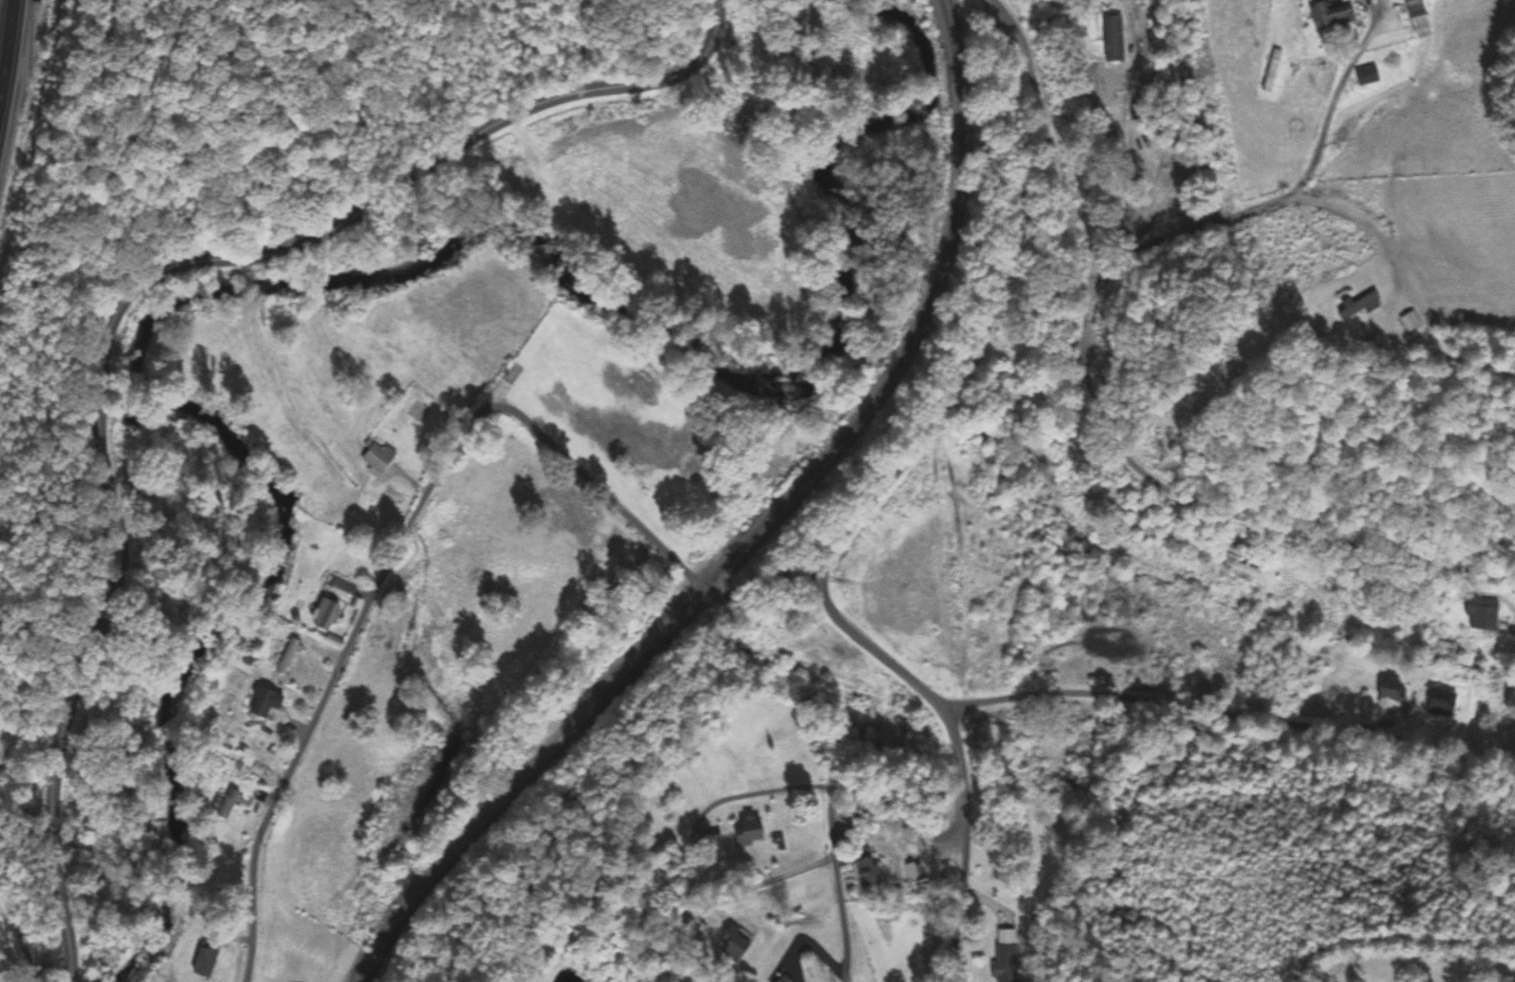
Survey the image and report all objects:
building: (1329, 14)
building: (1417, 18)
road: (7, 52)
building: (1271, 70)
building: (1366, 75)
road: (447, 150)
road: (1052, 164)
road: (1240, 212)
river: (327, 274)
building: (1358, 306)
road: (993, 318)
building: (1410, 322)
building: (377, 457)
road: (589, 481)
road: (1249, 521)
railway: (756, 532)
building: (1097, 539)
building: (1240, 567)
road: (761, 590)
road: (1510, 608)
building: (1482, 614)
building: (325, 615)
road: (93, 624)
building: (286, 657)
building: (1390, 691)
road: (328, 693)
building: (261, 703)
building: (1441, 704)
road: (1229, 720)
road: (957, 757)
road: (1514, 761)
road: (754, 793)
building: (228, 804)
road: (827, 810)
building: (748, 830)
building: (913, 870)
road: (724, 894)
building: (732, 943)
road: (807, 944)
road: (1396, 945)
road: (13, 952)
building: (204, 963)
building: (1006, 963)
building: (782, 979)

